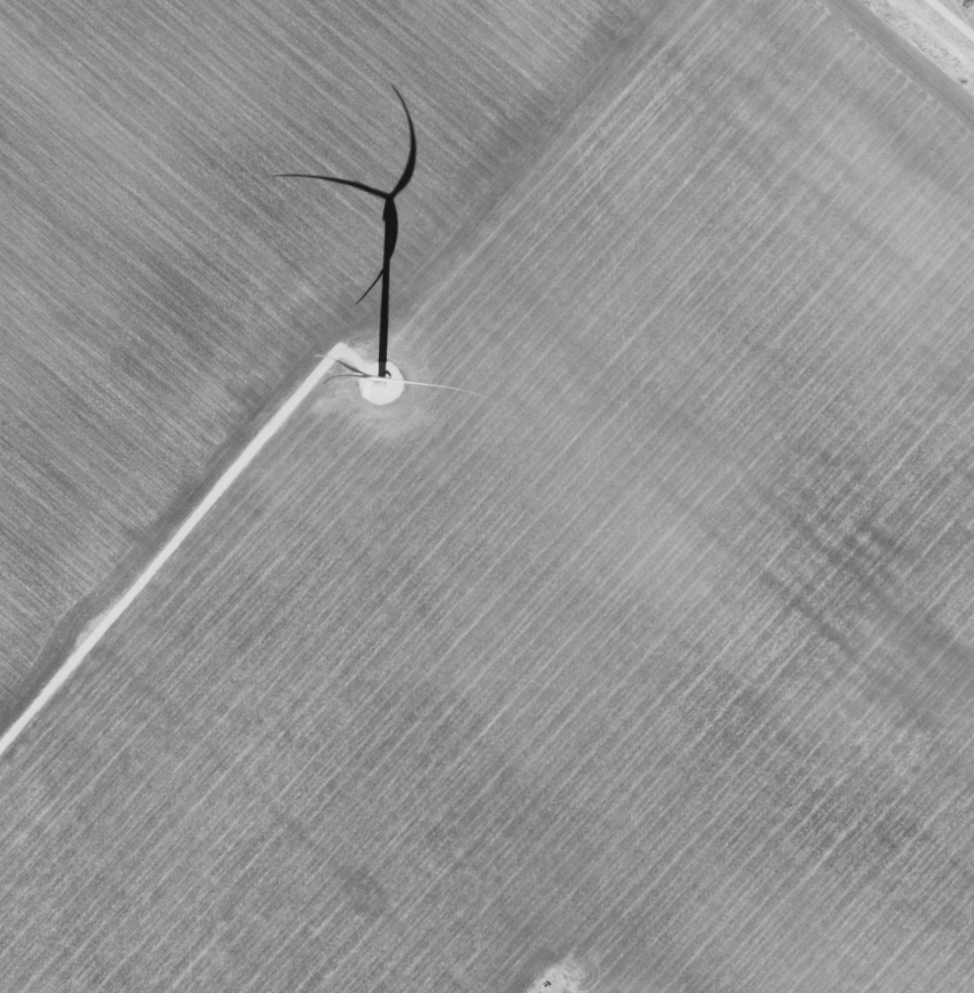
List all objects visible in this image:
wind turbine: (375, 386)

